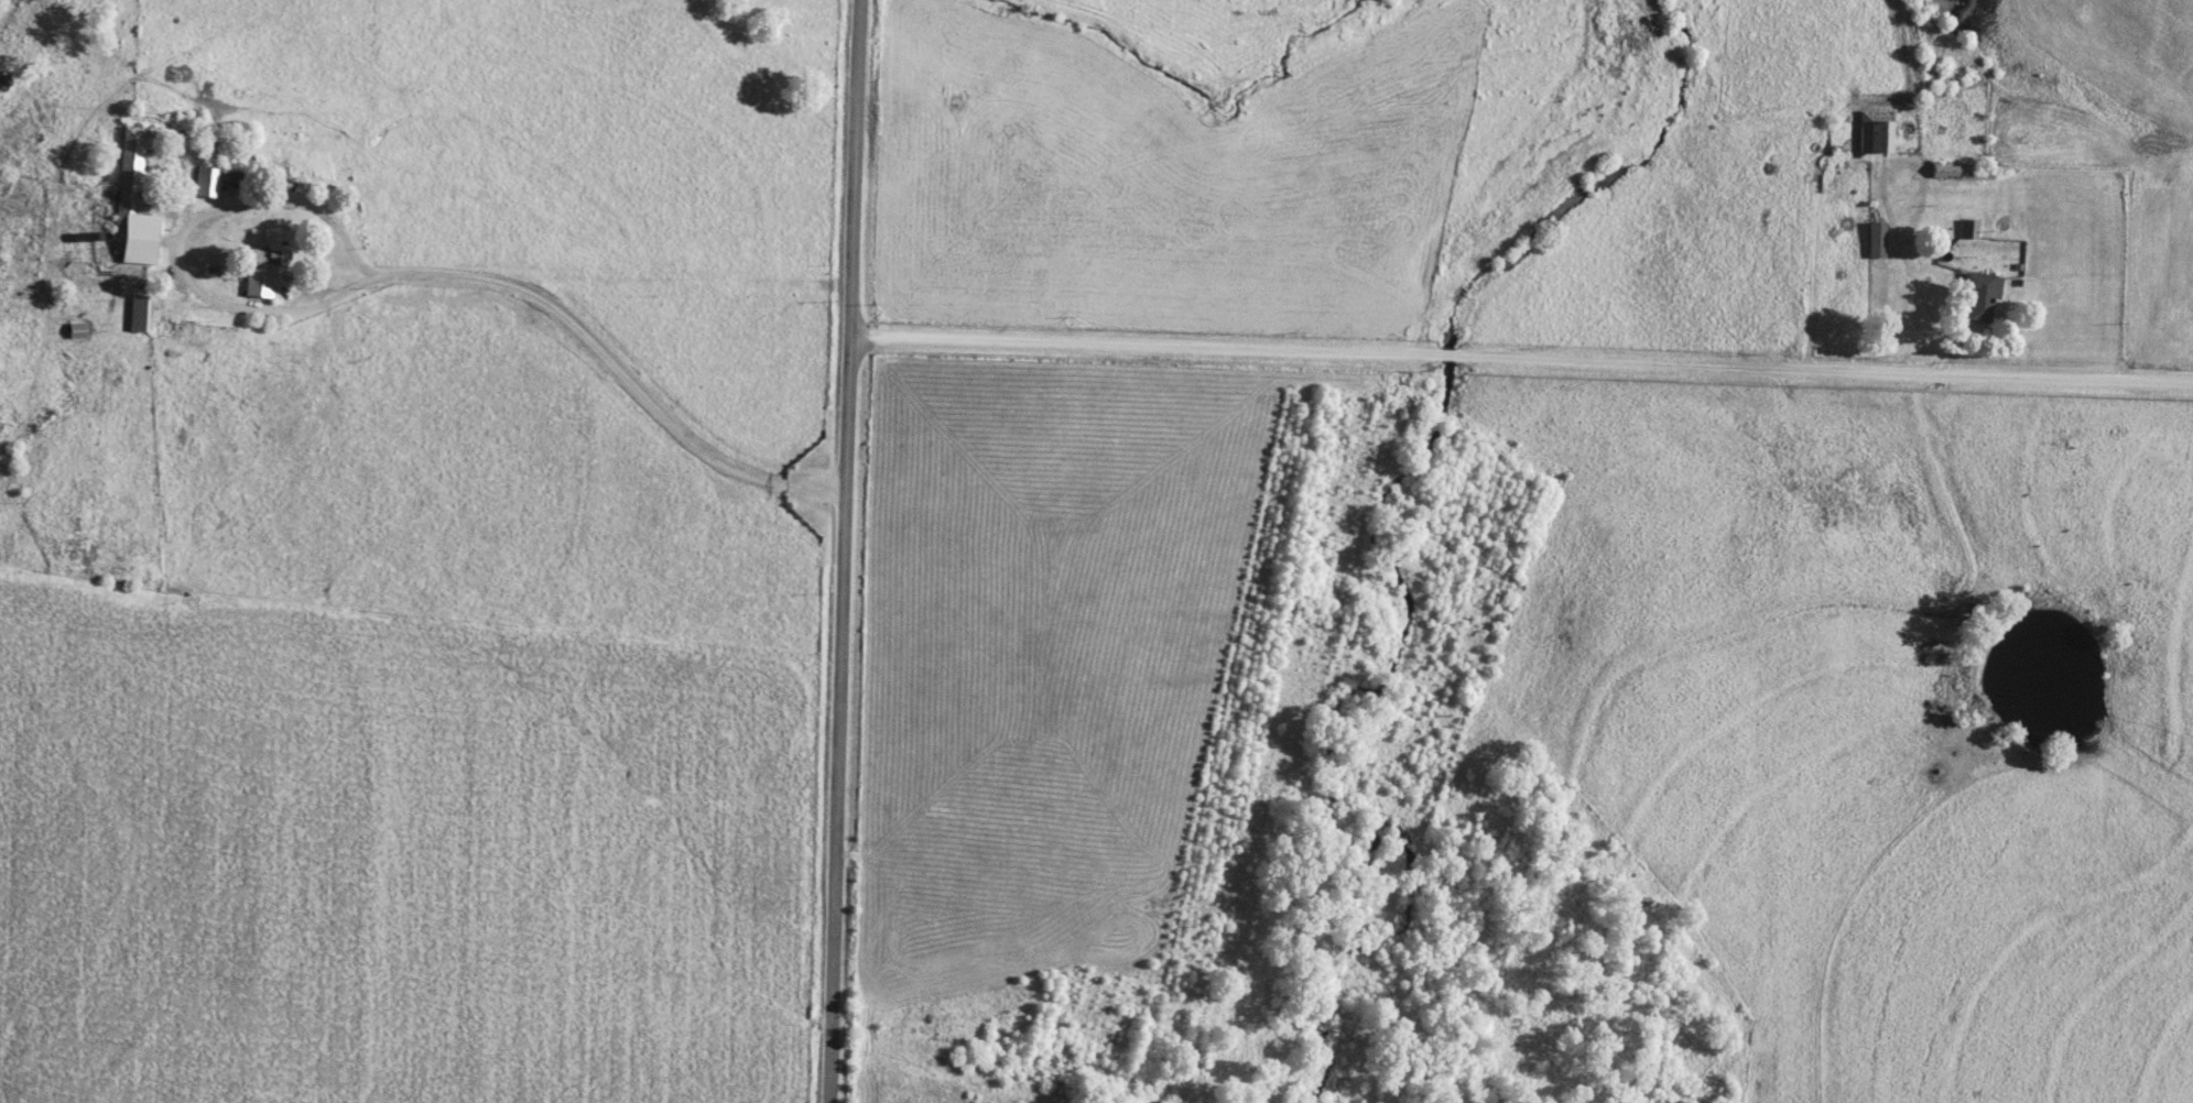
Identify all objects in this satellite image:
building: (1877, 131)
building: (240, 176)
building: (207, 181)
building: (137, 198)
building: (1877, 238)
road: (1909, 259)
building: (267, 265)
road: (191, 293)
building: (1982, 296)
building: (108, 315)
road: (612, 362)
road: (1520, 364)
road: (842, 550)

